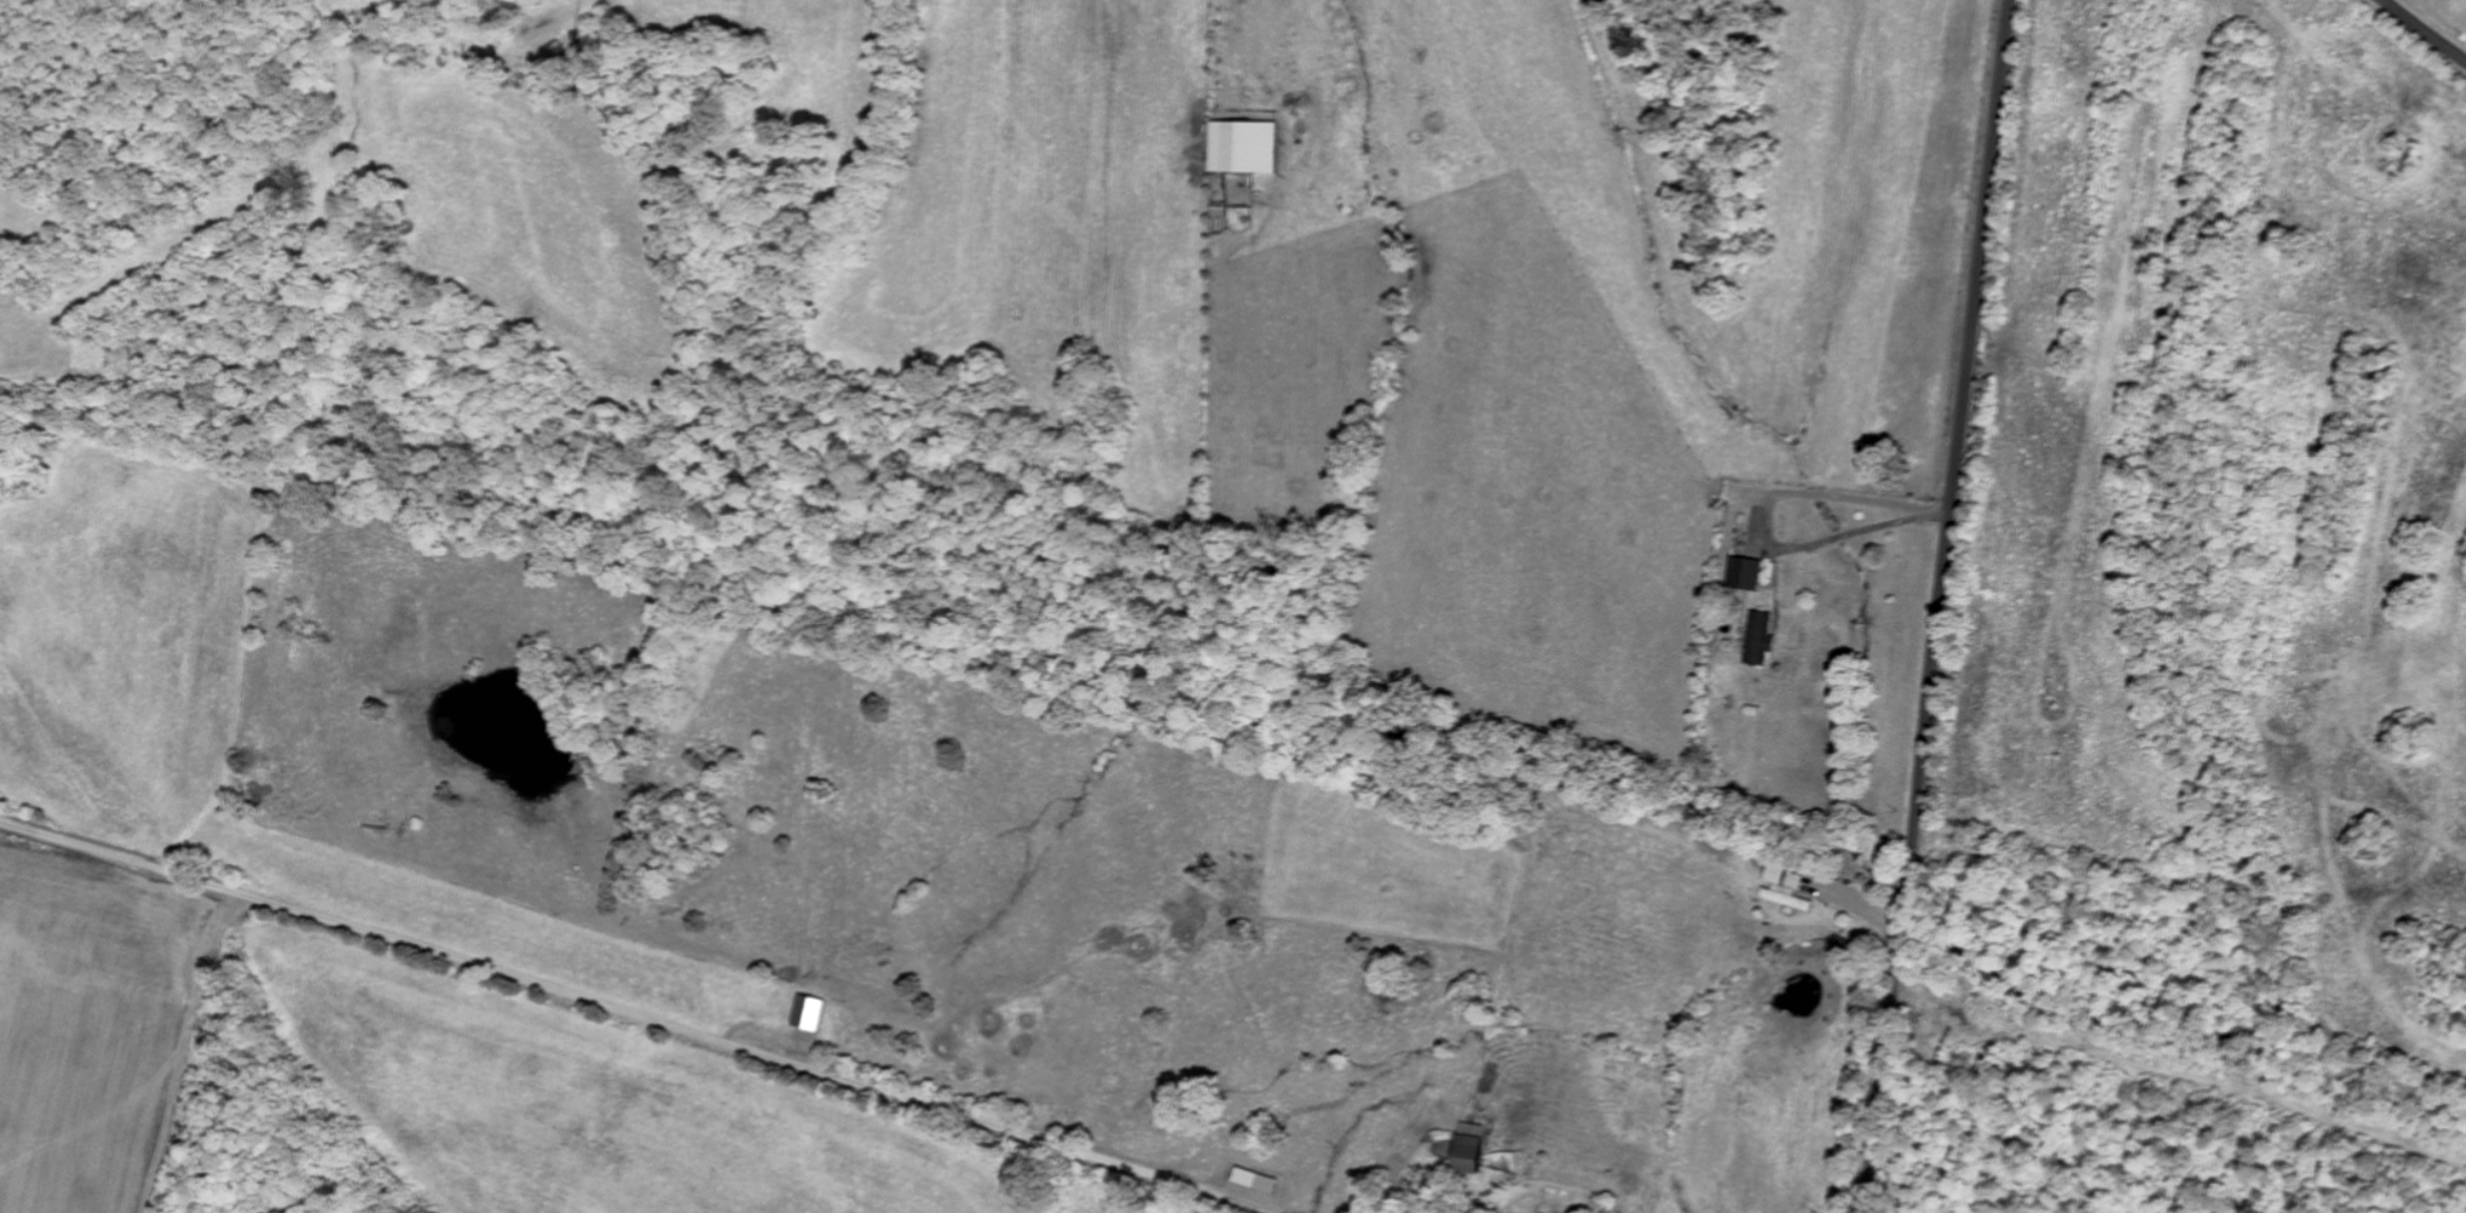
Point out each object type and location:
road: (2426, 28)
building: (1251, 145)
building: (1746, 573)
road: (1936, 606)
building: (1764, 639)
building: (818, 1013)
road: (637, 1015)
road: (159, 1045)
building: (1462, 1146)
building: (1251, 1178)

